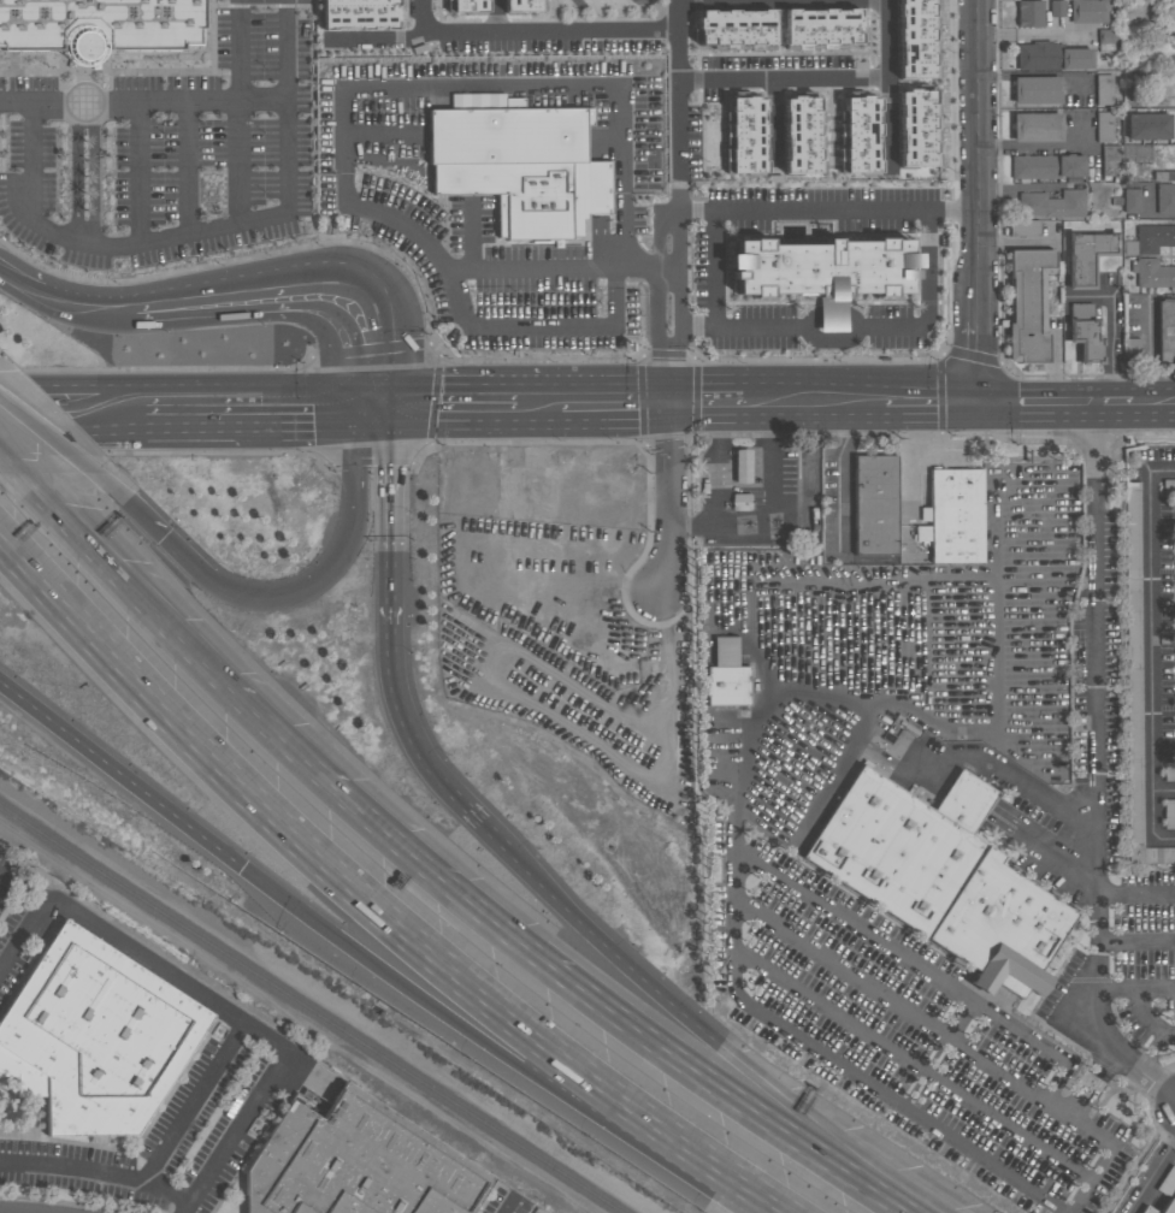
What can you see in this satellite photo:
building: (520, 5)
building: (468, 6)
building: (1057, 8)
building: (1087, 11)
building: (359, 13)
road: (675, 14)
building: (1029, 14)
road: (495, 17)
building: (104, 24)
building: (821, 28)
building: (736, 29)
road: (603, 31)
road: (1032, 34)
building: (915, 39)
road: (374, 40)
road: (886, 40)
building: (1037, 55)
building: (1075, 59)
building: (1103, 89)
building: (1037, 90)
road: (343, 93)
building: (486, 101)
building: (1174, 101)
road: (142, 103)
road: (238, 111)
road: (87, 116)
road: (886, 123)
building: (1104, 126)
building: (1147, 126)
building: (1037, 128)
building: (916, 129)
building: (744, 134)
building: (802, 134)
building: (857, 134)
road: (1038, 147)
building: (1112, 165)
building: (520, 166)
building: (1046, 167)
road: (78, 176)
road: (94, 176)
road: (134, 176)
building: (1164, 176)
building: (1164, 197)
building: (1130, 200)
road: (980, 201)
building: (1051, 205)
road: (696, 211)
road: (718, 211)
road: (952, 211)
road: (1152, 215)
building: (1026, 227)
road: (203, 229)
road: (87, 233)
building: (1150, 238)
building: (1087, 256)
building: (823, 271)
building: (1152, 273)
road: (17, 285)
road: (297, 288)
road: (673, 289)
road: (926, 298)
building: (1028, 304)
road: (83, 308)
road: (831, 316)
road: (535, 320)
road: (854, 320)
road: (811, 321)
road: (692, 325)
building: (1165, 330)
road: (1110, 331)
building: (1085, 332)
road: (833, 341)
road: (716, 402)
road: (756, 402)
road: (828, 402)
road: (932, 402)
road: (1039, 403)
road: (1153, 403)
road: (1114, 404)
road: (258, 406)
traffic signals: (371, 406)
road: (443, 406)
road: (538, 406)
road: (627, 406)
road: (72, 407)
road: (63, 440)
road: (16, 450)
road: (714, 465)
building: (742, 466)
road: (840, 475)
road: (667, 497)
building: (740, 501)
building: (876, 507)
road: (390, 514)
road: (773, 516)
building: (957, 517)
road: (143, 519)
building: (922, 533)
road: (320, 578)
road: (857, 584)
road: (1151, 650)
building: (725, 651)
road: (992, 653)
building: (1135, 685)
building: (726, 686)
road: (242, 690)
road: (860, 697)
road: (419, 751)
road: (1097, 768)
road: (117, 770)
building: (1169, 773)
road: (1025, 787)
road: (1164, 789)
building: (1169, 812)
parking lot: (937, 827)
road: (346, 869)
building: (938, 881)
road: (1135, 893)
road: (1135, 941)
road: (609, 951)
road: (920, 969)
road: (1136, 987)
road: (212, 1001)
railway: (314, 1005)
road: (903, 1008)
road: (1144, 1016)
road: (471, 1031)
building: (95, 1036)
road: (1150, 1054)
road: (828, 1057)
road: (678, 1058)
road: (914, 1066)
road: (1091, 1084)
road: (1174, 1095)
road: (191, 1100)
road: (1170, 1112)
road: (829, 1130)
road: (1105, 1159)
building: (358, 1164)
road: (96, 1171)
road: (1153, 1177)
road: (755, 1193)
building: (1164, 1193)

